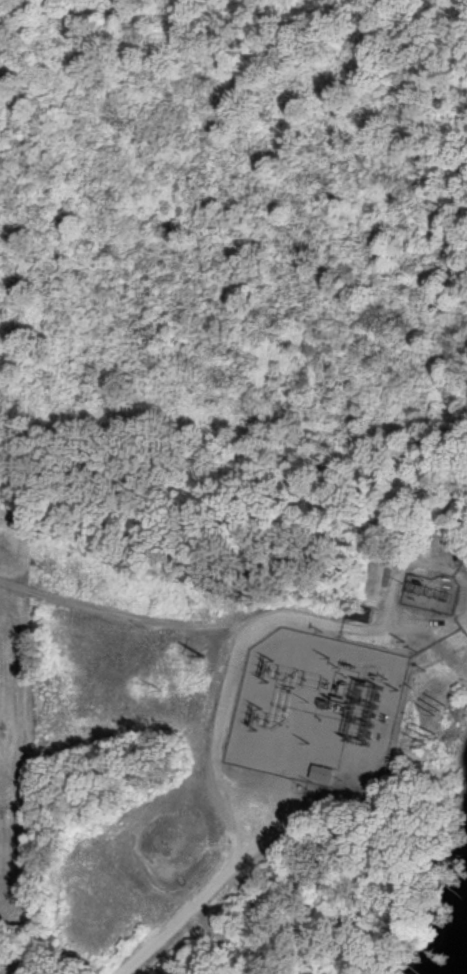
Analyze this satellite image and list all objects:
power substation: (315, 706)
road: (215, 735)
building: (325, 771)

